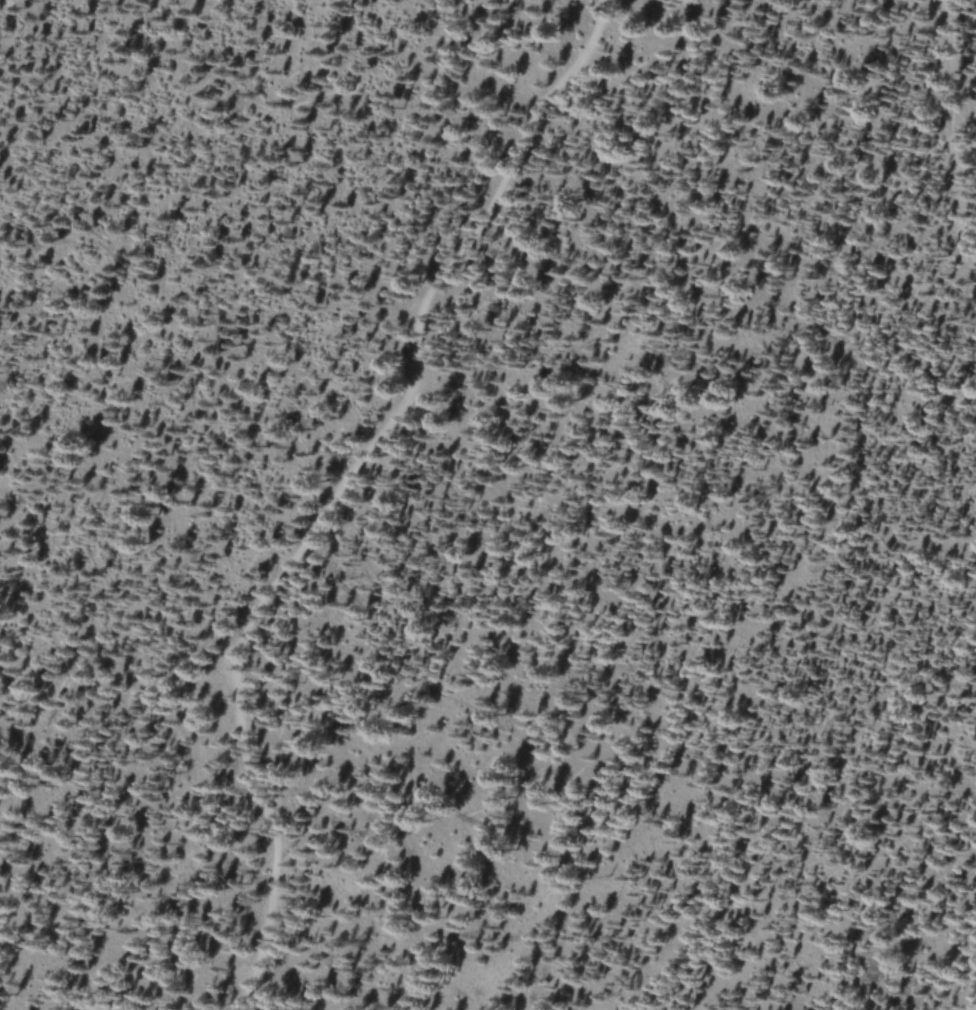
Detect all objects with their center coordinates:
road: (951, 133)
road: (340, 486)

